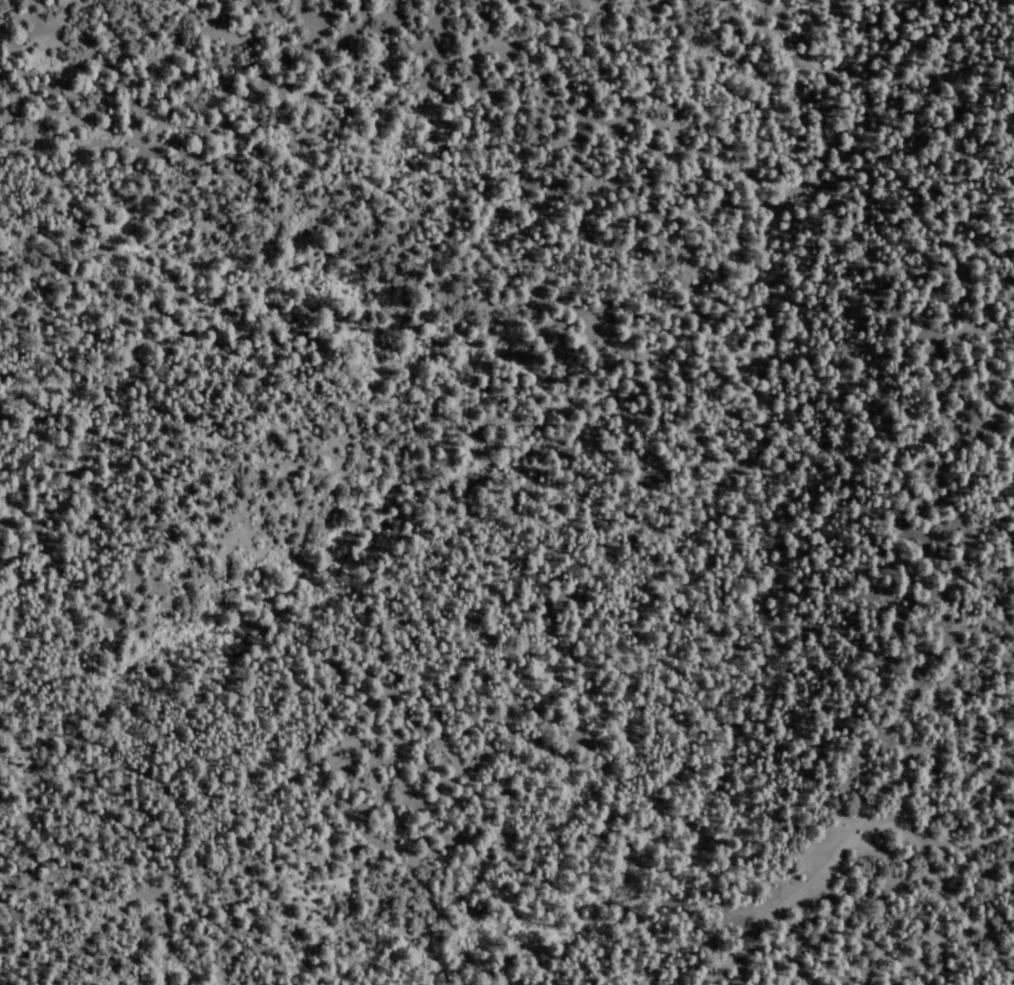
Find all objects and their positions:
road: (131, 816)
road: (802, 951)

